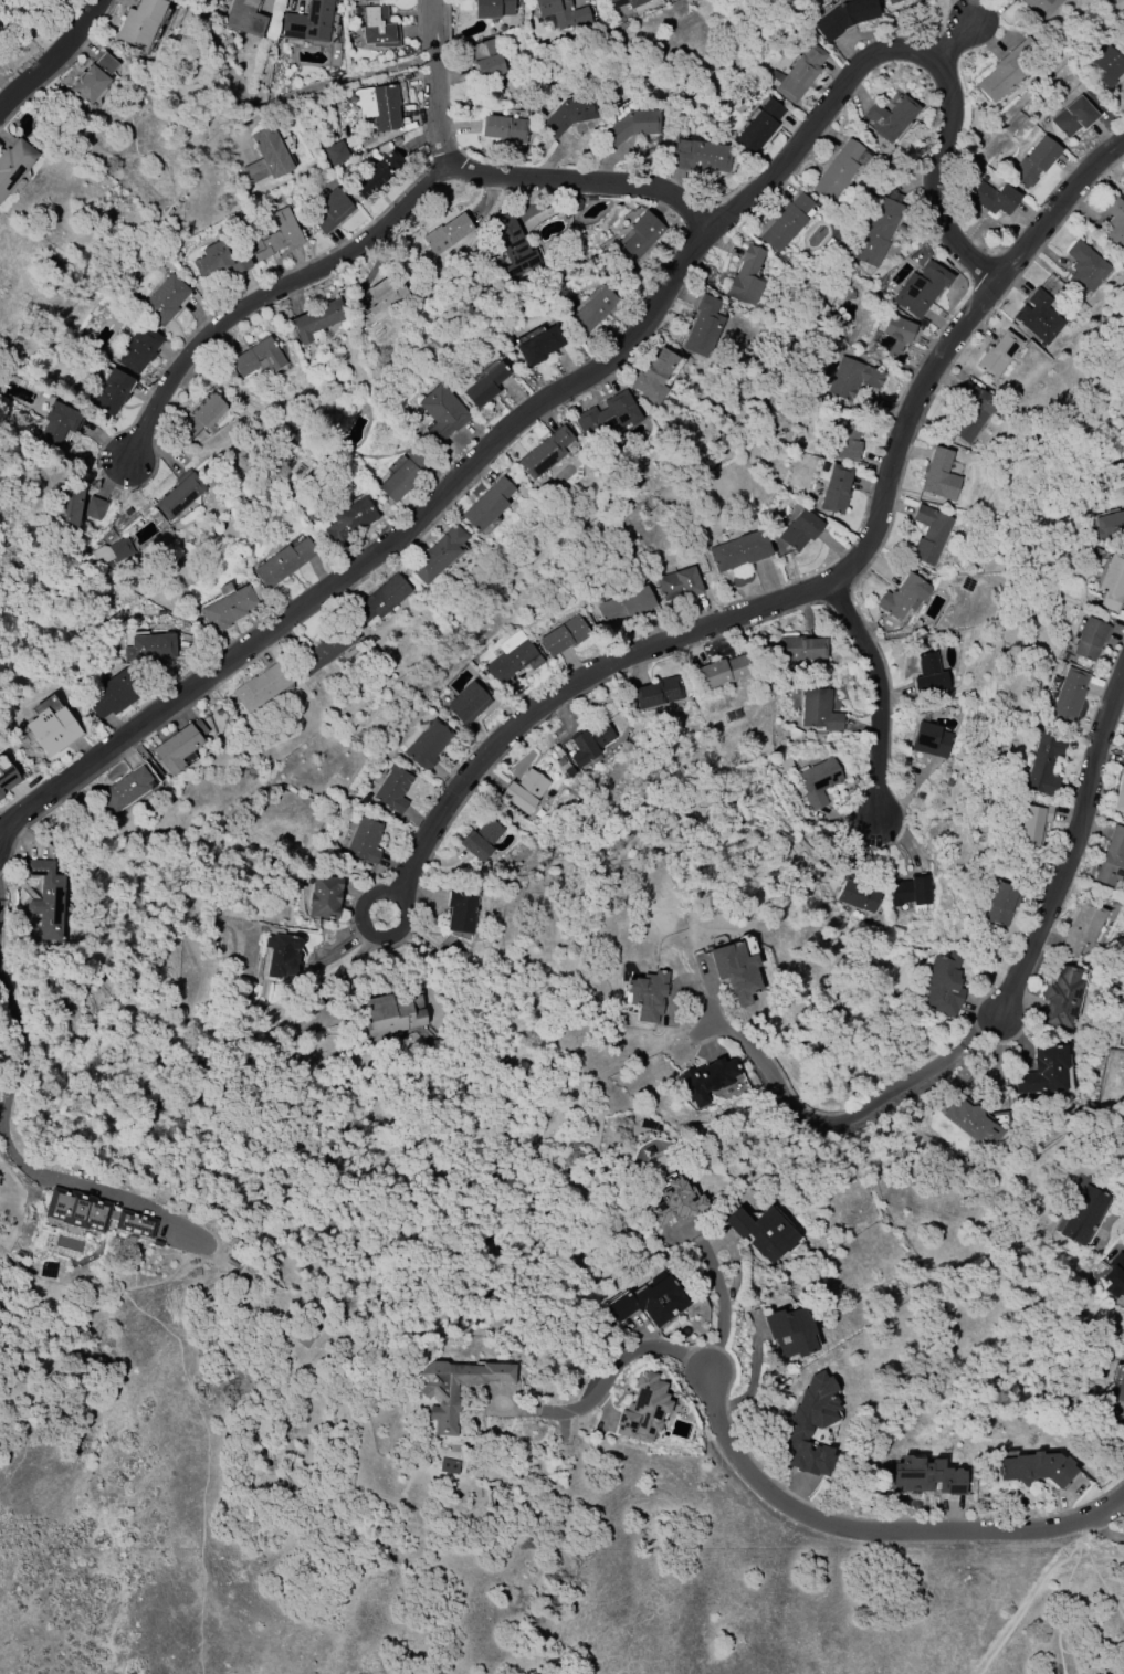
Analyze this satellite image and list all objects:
building: (611, 1)
building: (892, 1)
building: (634, 3)
building: (1039, 7)
building: (492, 9)
building: (561, 13)
building: (843, 17)
building: (244, 18)
building: (308, 22)
building: (139, 23)
building: (378, 29)
road: (949, 39)
road: (49, 52)
building: (485, 60)
building: (1107, 66)
building: (1008, 69)
building: (798, 73)
building: (92, 78)
road: (334, 84)
building: (377, 105)
building: (570, 115)
building: (1072, 117)
building: (890, 118)
building: (759, 126)
building: (629, 127)
building: (503, 128)
building: (335, 152)
building: (265, 156)
building: (700, 156)
building: (14, 162)
building: (1033, 162)
building: (837, 171)
building: (376, 173)
road: (503, 185)
building: (1123, 191)
building: (1123, 196)
building: (992, 199)
building: (329, 211)
building: (1115, 220)
building: (785, 222)
building: (876, 233)
building: (447, 234)
building: (276, 235)
building: (637, 239)
building: (514, 248)
building: (221, 257)
building: (1086, 267)
building: (745, 277)
building: (1051, 286)
building: (920, 288)
road: (276, 289)
building: (386, 297)
building: (164, 299)
building: (591, 310)
building: (1039, 317)
building: (316, 319)
building: (702, 327)
building: (891, 337)
building: (538, 346)
building: (137, 349)
building: (997, 354)
building: (256, 358)
road: (587, 371)
building: (651, 377)
building: (851, 379)
building: (484, 386)
building: (111, 392)
building: (970, 412)
building: (440, 413)
building: (202, 415)
building: (606, 418)
building: (56, 425)
building: (844, 441)
building: (544, 452)
building: (402, 475)
building: (938, 476)
building: (834, 489)
building: (180, 494)
building: (66, 505)
building: (486, 505)
building: (94, 509)
building: (349, 520)
building: (1107, 526)
building: (799, 530)
building: (929, 534)
building: (738, 550)
building: (113, 552)
building: (437, 555)
building: (283, 561)
building: (1112, 582)
building: (679, 583)
road: (823, 588)
building: (903, 597)
building: (380, 599)
building: (623, 604)
building: (227, 609)
building: (563, 636)
building: (1089, 639)
building: (325, 646)
building: (149, 648)
building: (800, 650)
building: (513, 662)
building: (723, 672)
building: (927, 674)
building: (261, 686)
building: (658, 693)
building: (113, 694)
road: (882, 694)
building: (1068, 696)
building: (466, 704)
building: (818, 710)
building: (52, 730)
building: (795, 734)
building: (929, 739)
building: (589, 744)
building: (427, 745)
building: (176, 747)
building: (785, 764)
building: (1041, 765)
building: (6, 776)
building: (818, 781)
building: (123, 789)
building: (392, 789)
building: (524, 791)
building: (1121, 791)
building: (1031, 824)
building: (481, 840)
building: (364, 841)
road: (1070, 842)
building: (1111, 859)
road: (391, 889)
building: (910, 892)
building: (324, 896)
building: (859, 896)
building: (45, 898)
building: (1000, 904)
building: (461, 907)
building: (1082, 929)
building: (282, 956)
building: (735, 970)
building: (944, 986)
building: (645, 992)
building: (1061, 998)
building: (392, 1014)
building: (1042, 1071)
building: (705, 1080)
road: (9, 1116)
road: (851, 1117)
building: (975, 1122)
building: (673, 1202)
building: (94, 1213)
building: (1083, 1215)
building: (761, 1232)
building: (155, 1244)
building: (1115, 1275)
building: (648, 1302)
road: (722, 1302)
building: (788, 1331)
road: (608, 1378)
building: (1120, 1385)
building: (453, 1388)
building: (641, 1409)
building: (810, 1426)
building: (1034, 1468)
building: (926, 1476)
road: (875, 1530)
road: (1099, 1578)
road: (1038, 1587)
road: (1061, 1607)

